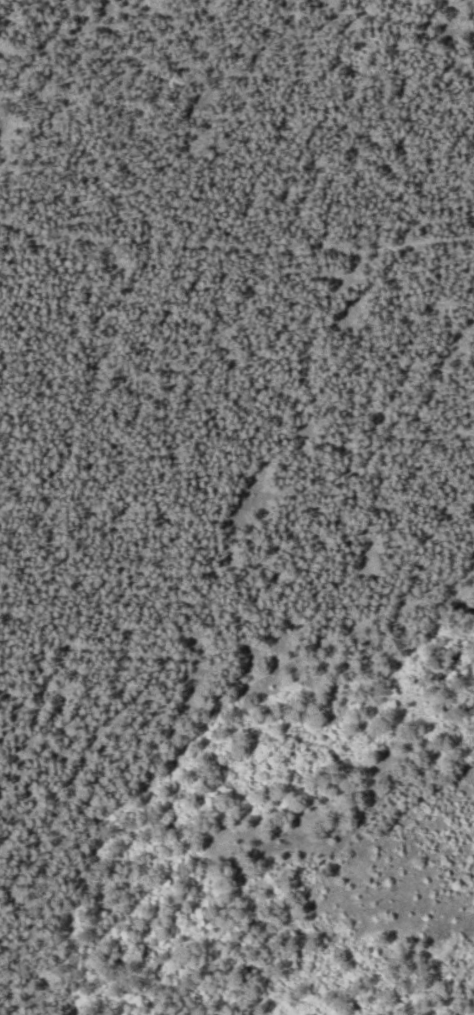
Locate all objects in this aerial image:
park: (0, 0)

